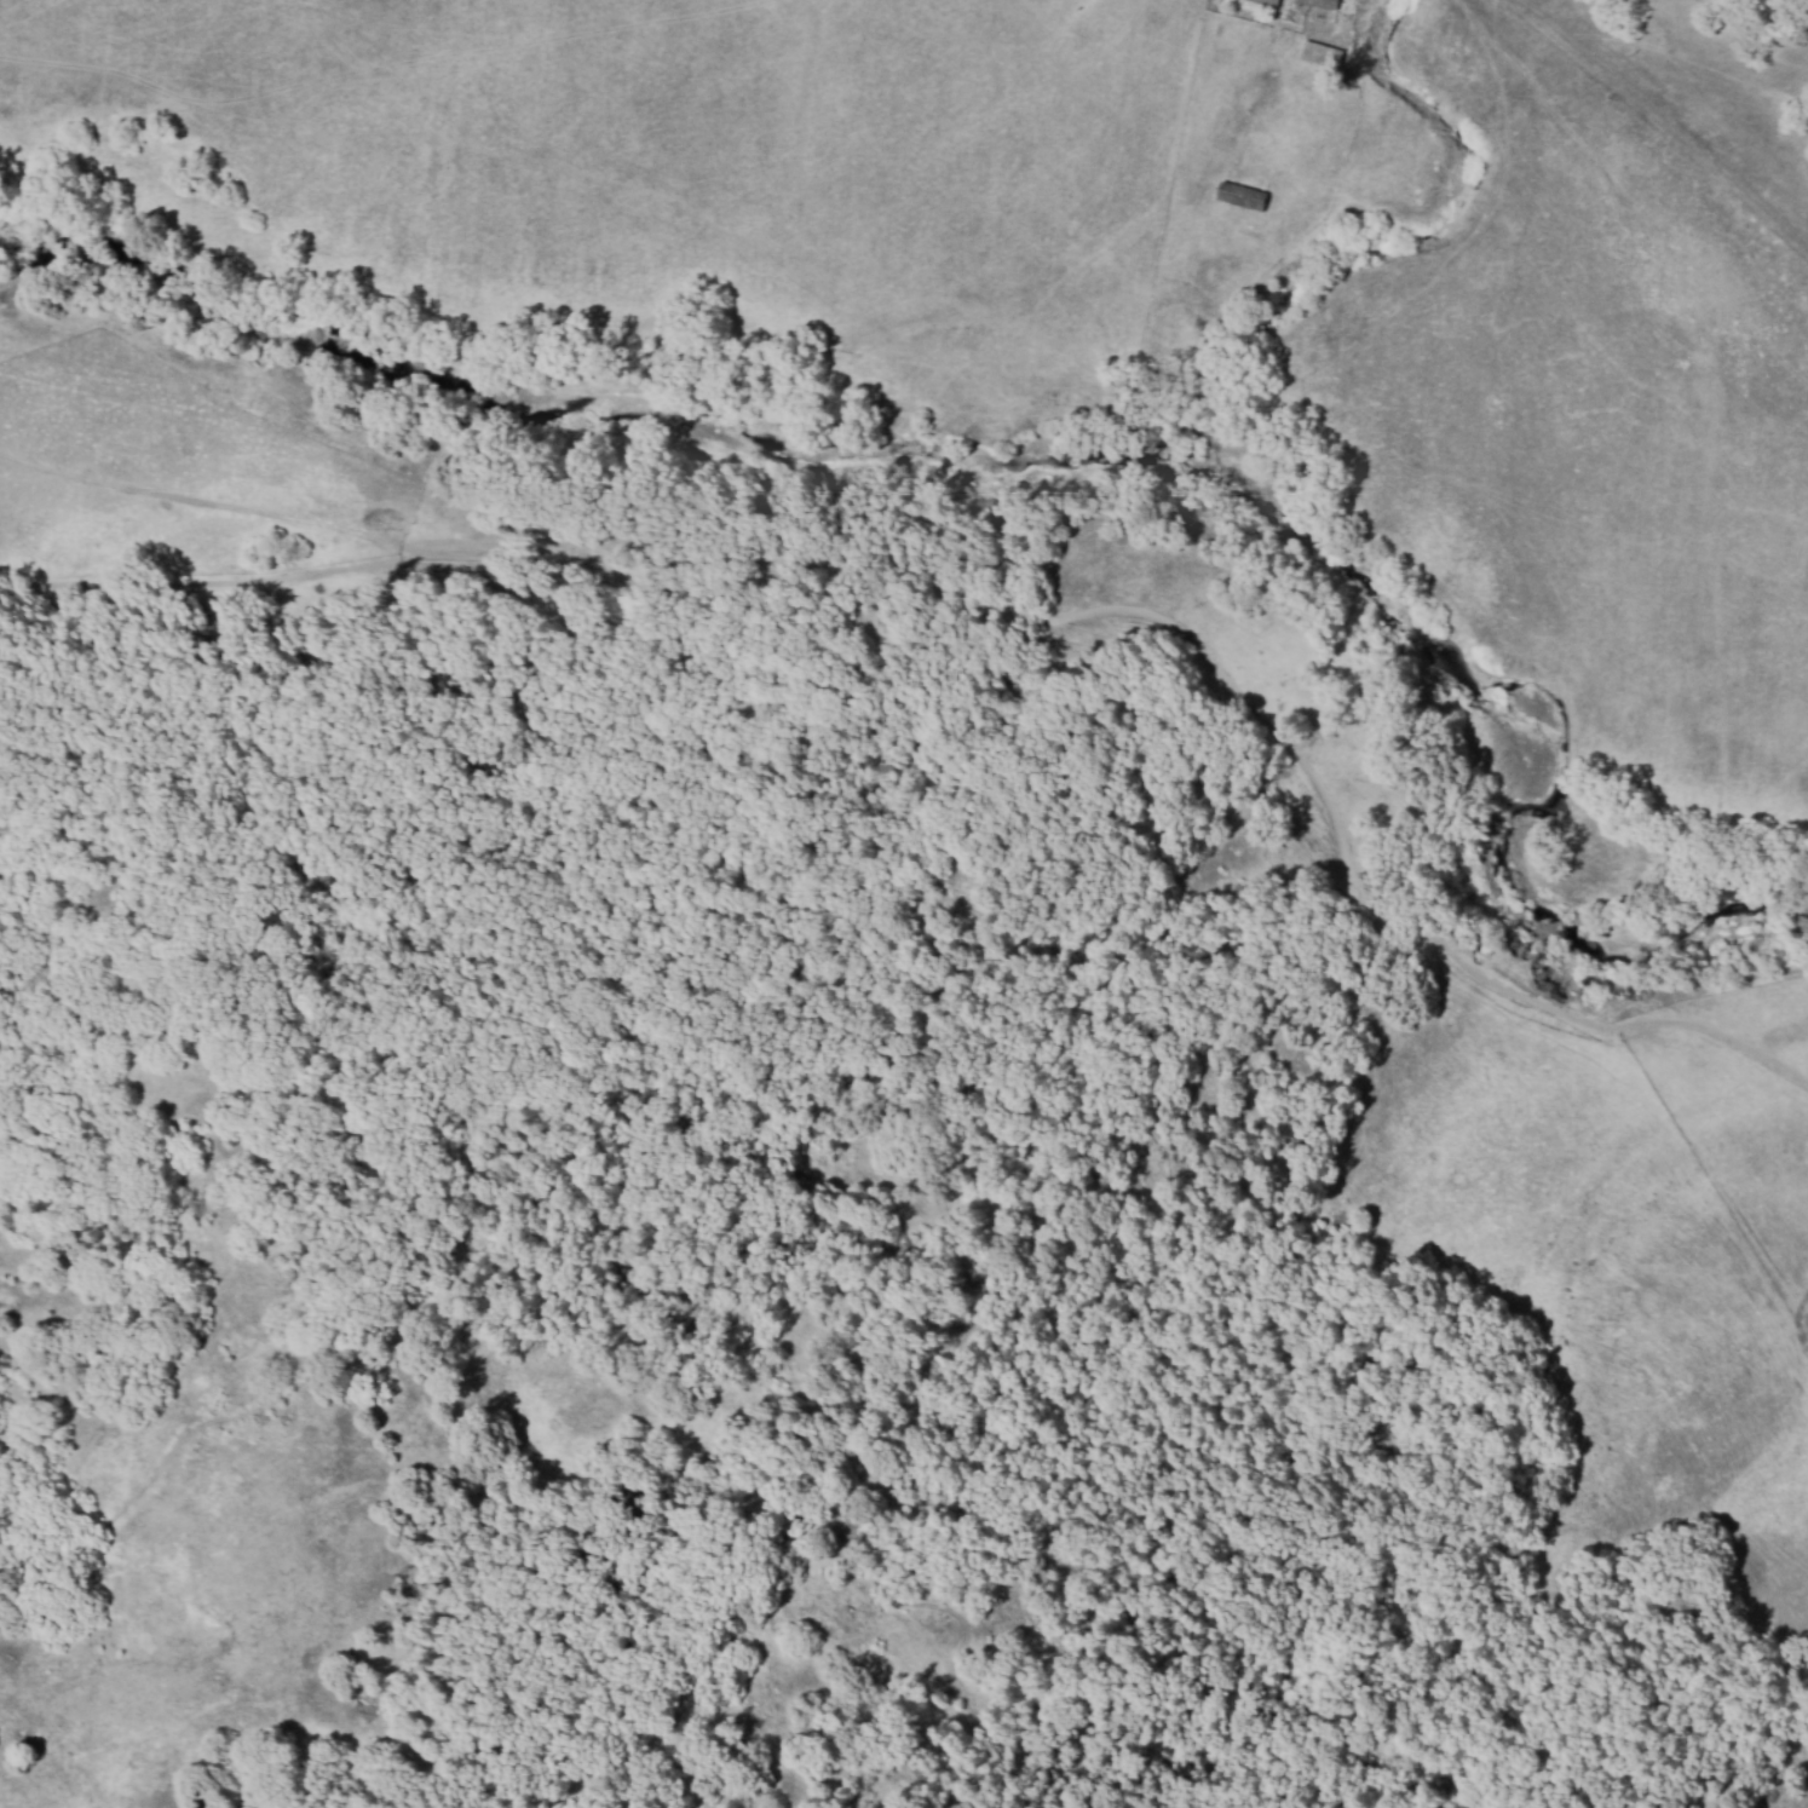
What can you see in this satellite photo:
building: (1263, 2)
building: (1323, 57)
building: (1243, 197)

